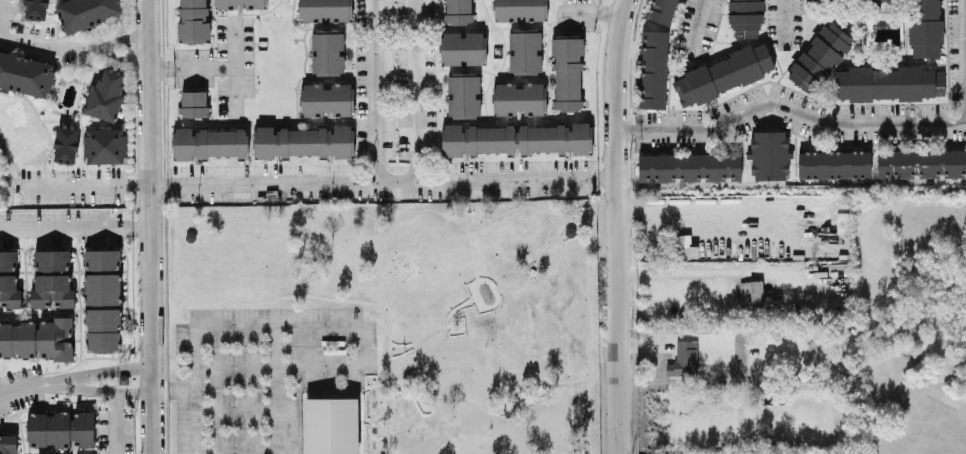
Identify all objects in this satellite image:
building: (745, 4)
building: (225, 5)
building: (36, 9)
building: (519, 9)
building: (325, 10)
road: (595, 10)
building: (457, 11)
building: (661, 11)
building: (84, 12)
road: (785, 17)
building: (193, 21)
road: (701, 22)
building: (745, 24)
building: (924, 27)
road: (51, 44)
road: (104, 46)
building: (462, 47)
building: (524, 50)
building: (327, 51)
building: (819, 56)
road: (194, 65)
building: (653, 68)
road: (235, 69)
building: (567, 70)
building: (722, 73)
building: (25, 74)
building: (888, 82)
road: (621, 87)
road: (416, 89)
road: (374, 90)
road: (155, 91)
building: (463, 94)
building: (105, 95)
building: (327, 98)
building: (519, 98)
building: (193, 102)
road: (800, 111)
road: (630, 123)
building: (515, 138)
building: (303, 141)
building: (209, 142)
building: (66, 143)
building: (104, 144)
building: (769, 154)
building: (833, 163)
building: (921, 163)
building: (689, 166)
road: (388, 179)
road: (88, 184)
road: (692, 208)
road: (144, 223)
road: (66, 224)
building: (684, 246)
building: (102, 258)
building: (8, 259)
building: (51, 259)
building: (102, 288)
building: (10, 290)
building: (51, 290)
building: (751, 291)
road: (621, 314)
road: (157, 318)
road: (274, 325)
building: (103, 327)
building: (37, 338)
road: (355, 345)
road: (137, 365)
road: (274, 366)
road: (67, 380)
road: (31, 383)
road: (142, 390)
road: (176, 390)
road: (195, 390)
road: (274, 390)
road: (234, 410)
road: (115, 422)
building: (331, 425)
building: (61, 428)
building: (7, 443)
road: (235, 450)

